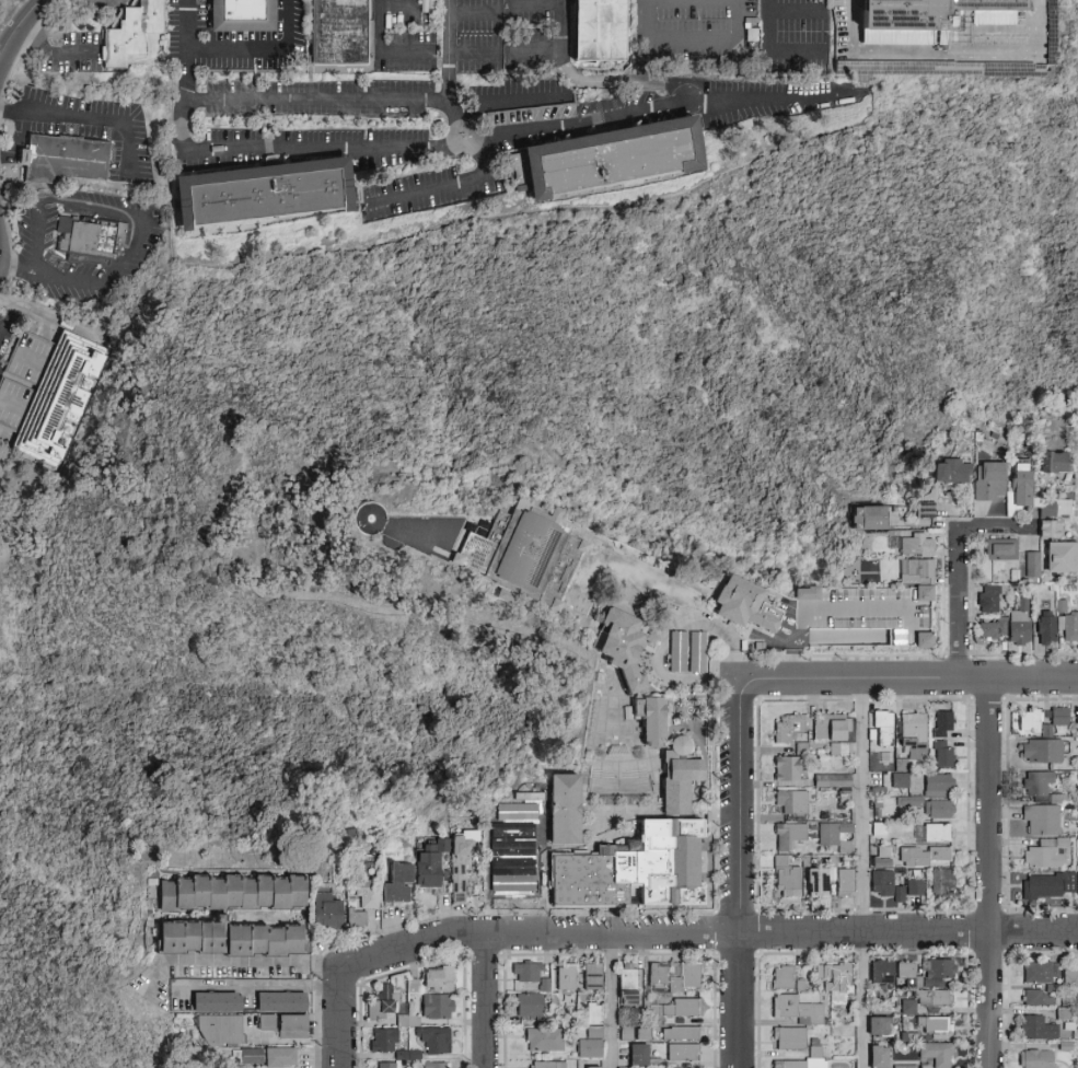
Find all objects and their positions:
road: (533, 4)
road: (398, 9)
road: (798, 9)
road: (474, 13)
building: (932, 14)
building: (245, 16)
road: (648, 21)
road: (561, 23)
road: (19, 25)
road: (1036, 26)
building: (603, 32)
building: (340, 33)
building: (135, 34)
road: (714, 44)
road: (55, 49)
road: (186, 49)
road: (772, 49)
road: (923, 49)
road: (259, 50)
road: (382, 54)
road: (448, 54)
road: (474, 55)
road: (536, 55)
road: (635, 81)
road: (329, 98)
road: (763, 98)
road: (512, 103)
road: (91, 118)
road: (577, 124)
road: (466, 127)
road: (293, 148)
building: (65, 160)
building: (617, 161)
road: (440, 187)
building: (266, 197)
road: (36, 240)
building: (88, 240)
road: (137, 240)
road: (15, 302)
road: (7, 320)
road: (7, 333)
building: (40, 392)
building: (980, 436)
building: (1055, 464)
building: (955, 473)
building: (993, 481)
building: (1022, 490)
building: (928, 510)
building: (1056, 510)
building: (371, 518)
building: (871, 518)
building: (1051, 531)
building: (916, 545)
building: (1002, 552)
building: (526, 554)
building: (1063, 559)
building: (1034, 566)
road: (955, 569)
building: (1017, 577)
building: (921, 578)
building: (809, 593)
building: (874, 593)
building: (507, 597)
building: (993, 599)
building: (749, 604)
building: (1059, 604)
building: (1064, 608)
building: (868, 625)
building: (1022, 626)
building: (1069, 628)
building: (1048, 629)
building: (994, 630)
building: (928, 640)
building: (624, 647)
road: (908, 681)
building: (1057, 715)
building: (654, 719)
building: (1027, 719)
building: (1076, 719)
building: (940, 722)
building: (882, 724)
building: (786, 725)
building: (828, 725)
building: (1044, 729)
building: (912, 732)
building: (836, 747)
building: (1040, 748)
building: (940, 752)
building: (899, 763)
building: (786, 766)
building: (899, 778)
building: (831, 779)
building: (1036, 780)
building: (936, 783)
building: (789, 800)
building: (909, 800)
building: (936, 808)
building: (568, 810)
building: (1041, 819)
building: (877, 826)
building: (935, 831)
building: (788, 834)
building: (834, 834)
building: (610, 844)
building: (646, 852)
building: (1045, 852)
building: (923, 855)
road: (538, 860)
building: (878, 860)
building: (463, 863)
building: (432, 864)
building: (321, 871)
road: (862, 874)
road: (990, 874)
road: (740, 875)
building: (785, 877)
building: (843, 879)
building: (939, 880)
building: (813, 881)
building: (880, 881)
building: (1077, 882)
building: (153, 883)
building: (399, 884)
building: (1043, 884)
building: (906, 887)
building: (202, 892)
building: (234, 892)
building: (265, 892)
building: (299, 892)
building: (218, 894)
building: (250, 894)
building: (281, 894)
building: (370, 894)
building: (177, 896)
building: (328, 909)
building: (359, 920)
road: (708, 934)
building: (231, 939)
road: (233, 962)
building: (904, 968)
building: (1040, 970)
building: (880, 971)
building: (530, 973)
building: (1069, 975)
building: (780, 976)
building: (595, 977)
building: (660, 977)
building: (687, 977)
building: (569, 978)
building: (833, 978)
building: (437, 982)
road: (259, 985)
building: (547, 986)
building: (630, 986)
building: (1040, 994)
building: (931, 996)
building: (669, 997)
building: (556, 1000)
building: (583, 1000)
road: (487, 1001)
road: (613, 1001)
building: (218, 1003)
building: (283, 1003)
building: (384, 1003)
building: (907, 1005)
building: (439, 1008)
building: (534, 1008)
building: (795, 1008)
building: (674, 1010)
building: (1062, 1012)
building: (596, 1015)
road: (343, 1018)
building: (408, 1018)
building: (932, 1022)
building: (268, 1024)
building: (876, 1024)
building: (1038, 1026)
building: (295, 1028)
building: (222, 1031)
building: (598, 1033)
building: (685, 1034)
building: (629, 1035)
building: (646, 1035)
building: (788, 1036)
building: (386, 1041)
building: (438, 1041)
building: (547, 1041)
building: (592, 1049)
building: (936, 1052)
building: (685, 1053)
building: (877, 1055)
building: (404, 1056)
building: (417, 1056)
building: (250, 1057)
building: (644, 1057)
building: (812, 1057)
building: (281, 1058)
building: (1033, 1058)
building: (790, 1064)
building: (392, 1065)
building: (437, 1065)
building: (550, 1066)
building: (590, 1066)
building: (241, 1067)
building: (668, 1067)

